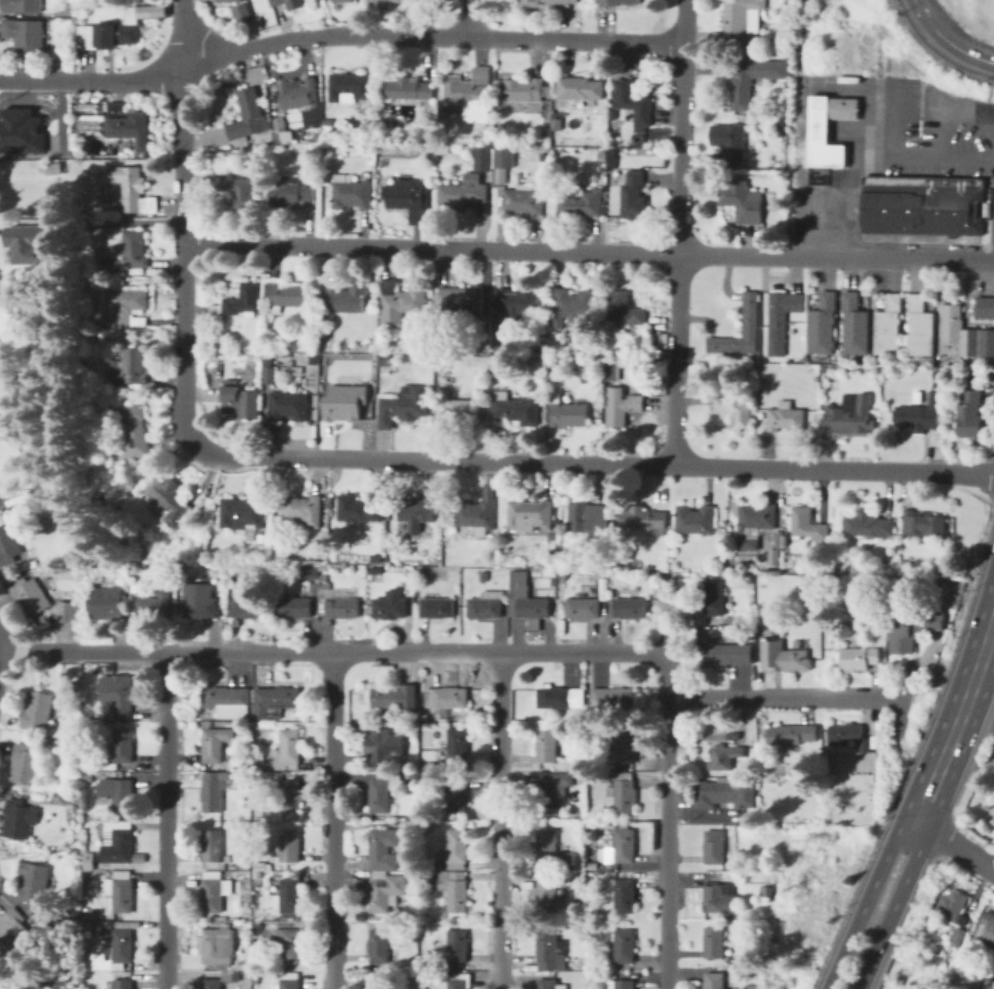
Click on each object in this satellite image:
building: (288, 3)
building: (549, 3)
building: (619, 3)
building: (21, 7)
building: (239, 11)
building: (354, 15)
road: (472, 18)
building: (739, 18)
building: (255, 21)
building: (116, 27)
road: (429, 35)
building: (25, 36)
road: (947, 40)
building: (744, 46)
building: (758, 46)
road: (36, 67)
road: (30, 78)
road: (122, 78)
building: (740, 86)
building: (351, 87)
building: (382, 88)
building: (409, 88)
building: (580, 88)
building: (524, 89)
building: (298, 93)
building: (472, 94)
building: (634, 102)
building: (549, 114)
building: (248, 115)
road: (954, 115)
building: (127, 124)
road: (890, 126)
building: (20, 129)
building: (280, 131)
building: (820, 131)
building: (269, 140)
building: (760, 142)
building: (733, 143)
building: (232, 155)
building: (543, 156)
building: (603, 157)
road: (924, 160)
building: (496, 162)
road: (991, 166)
building: (326, 176)
building: (134, 189)
building: (238, 189)
building: (351, 191)
building: (290, 192)
building: (464, 192)
building: (635, 196)
building: (409, 198)
building: (527, 200)
building: (580, 201)
building: (743, 201)
road: (845, 206)
building: (922, 206)
road: (120, 222)
road: (181, 223)
road: (679, 231)
building: (29, 244)
building: (129, 252)
road: (587, 252)
building: (286, 294)
building: (344, 299)
building: (241, 301)
building: (401, 301)
building: (461, 301)
building: (516, 303)
building: (126, 307)
building: (574, 307)
building: (985, 307)
building: (625, 308)
building: (261, 314)
building: (749, 314)
building: (219, 318)
building: (781, 319)
building: (239, 321)
building: (823, 324)
building: (854, 324)
building: (888, 326)
building: (920, 328)
building: (966, 334)
building: (503, 346)
building: (574, 347)
building: (541, 349)
building: (287, 353)
building: (237, 356)
building: (280, 358)
building: (752, 359)
building: (385, 360)
building: (499, 361)
building: (343, 362)
building: (456, 364)
building: (598, 364)
building: (129, 367)
building: (967, 369)
building: (269, 370)
building: (613, 371)
building: (937, 373)
building: (569, 391)
building: (917, 396)
building: (239, 399)
building: (343, 404)
building: (402, 404)
building: (288, 406)
building: (622, 406)
building: (516, 408)
building: (457, 409)
building: (735, 411)
building: (568, 412)
building: (850, 414)
building: (920, 414)
building: (970, 415)
building: (785, 417)
building: (132, 430)
road: (593, 460)
building: (167, 500)
building: (361, 507)
building: (303, 511)
building: (417, 512)
building: (477, 512)
building: (242, 513)
building: (529, 515)
building: (643, 518)
building: (695, 518)
building: (589, 519)
building: (754, 523)
building: (922, 523)
building: (807, 524)
building: (867, 524)
building: (190, 530)
building: (261, 538)
building: (163, 543)
building: (8, 545)
building: (281, 556)
building: (773, 556)
building: (376, 557)
building: (539, 563)
building: (323, 567)
building: (730, 569)
building: (309, 572)
building: (376, 574)
building: (421, 574)
building: (563, 574)
building: (654, 576)
building: (483, 577)
building: (749, 578)
building: (181, 590)
building: (29, 595)
building: (714, 597)
building: (337, 601)
building: (527, 603)
building: (390, 605)
building: (156, 606)
building: (486, 606)
building: (202, 607)
building: (296, 607)
building: (108, 608)
building: (249, 608)
building: (438, 608)
building: (586, 608)
building: (629, 608)
building: (68, 612)
building: (228, 616)
road: (993, 617)
building: (767, 628)
building: (913, 631)
road: (327, 651)
building: (729, 655)
road: (3, 658)
building: (860, 659)
building: (785, 660)
road: (921, 685)
building: (123, 696)
road: (772, 696)
building: (394, 697)
building: (447, 697)
building: (561, 697)
building: (613, 697)
building: (227, 701)
building: (273, 702)
building: (37, 709)
building: (481, 715)
road: (956, 720)
building: (791, 733)
building: (733, 735)
building: (491, 742)
building: (216, 743)
building: (123, 745)
building: (384, 745)
building: (547, 746)
building: (456, 747)
building: (626, 747)
building: (865, 748)
building: (287, 750)
building: (725, 756)
building: (583, 762)
building: (24, 763)
building: (255, 763)
building: (430, 765)
building: (97, 773)
building: (258, 774)
building: (599, 775)
building: (87, 778)
building: (383, 789)
building: (213, 790)
building: (552, 791)
building: (118, 792)
building: (624, 792)
building: (726, 793)
building: (458, 795)
building: (291, 796)
building: (70, 800)
building: (992, 810)
building: (20, 818)
road: (666, 819)
road: (166, 820)
road: (330, 820)
road: (499, 820)
building: (993, 821)
building: (118, 842)
building: (425, 844)
road: (954, 844)
building: (624, 845)
building: (291, 846)
building: (383, 847)
building: (714, 847)
building: (211, 848)
building: (456, 850)
building: (551, 851)
building: (140, 857)
building: (236, 864)
building: (592, 865)
building: (89, 866)
building: (108, 873)
building: (87, 877)
building: (33, 880)
building: (766, 888)
building: (452, 889)
building: (121, 890)
building: (386, 890)
building: (215, 892)
building: (621, 894)
building: (713, 894)
building: (546, 896)
building: (290, 897)
road: (865, 901)
road: (892, 906)
building: (952, 906)
building: (768, 910)
building: (93, 914)
building: (610, 916)
building: (226, 925)
building: (12, 926)
building: (428, 927)
building: (988, 929)
building: (958, 937)
building: (715, 942)
building: (379, 945)
building: (457, 945)
building: (219, 946)
building: (290, 946)
building: (624, 946)
building: (550, 950)
building: (113, 952)
building: (570, 962)
building: (210, 966)
building: (73, 972)
building: (605, 974)
park: (912, 974)
building: (220, 980)
building: (379, 980)
building: (290, 981)
building: (454, 981)
building: (715, 981)
building: (41, 984)
building: (122, 984)
building: (550, 984)
building: (620, 984)
building: (726, 988)

